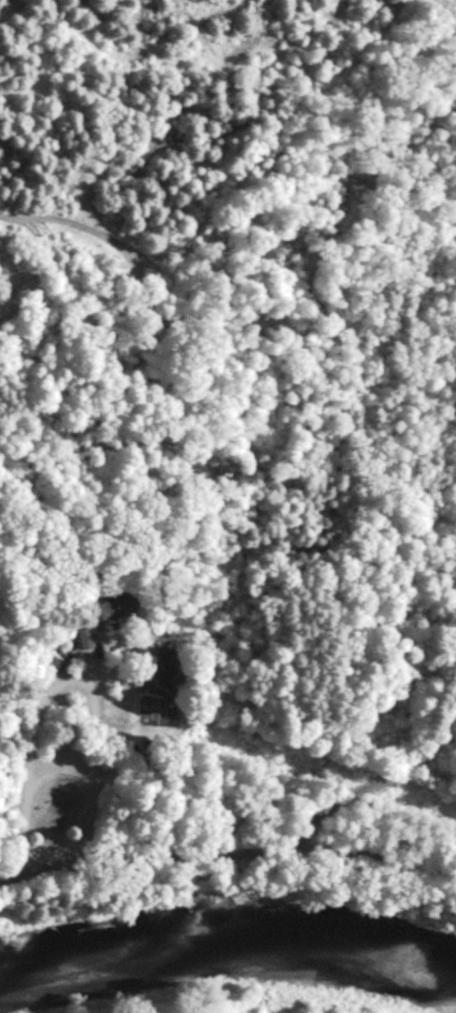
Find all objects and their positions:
road: (24, 498)
building: (102, 607)
building: (79, 636)
road: (65, 675)
road: (376, 779)
road: (228, 848)
river: (228, 964)

